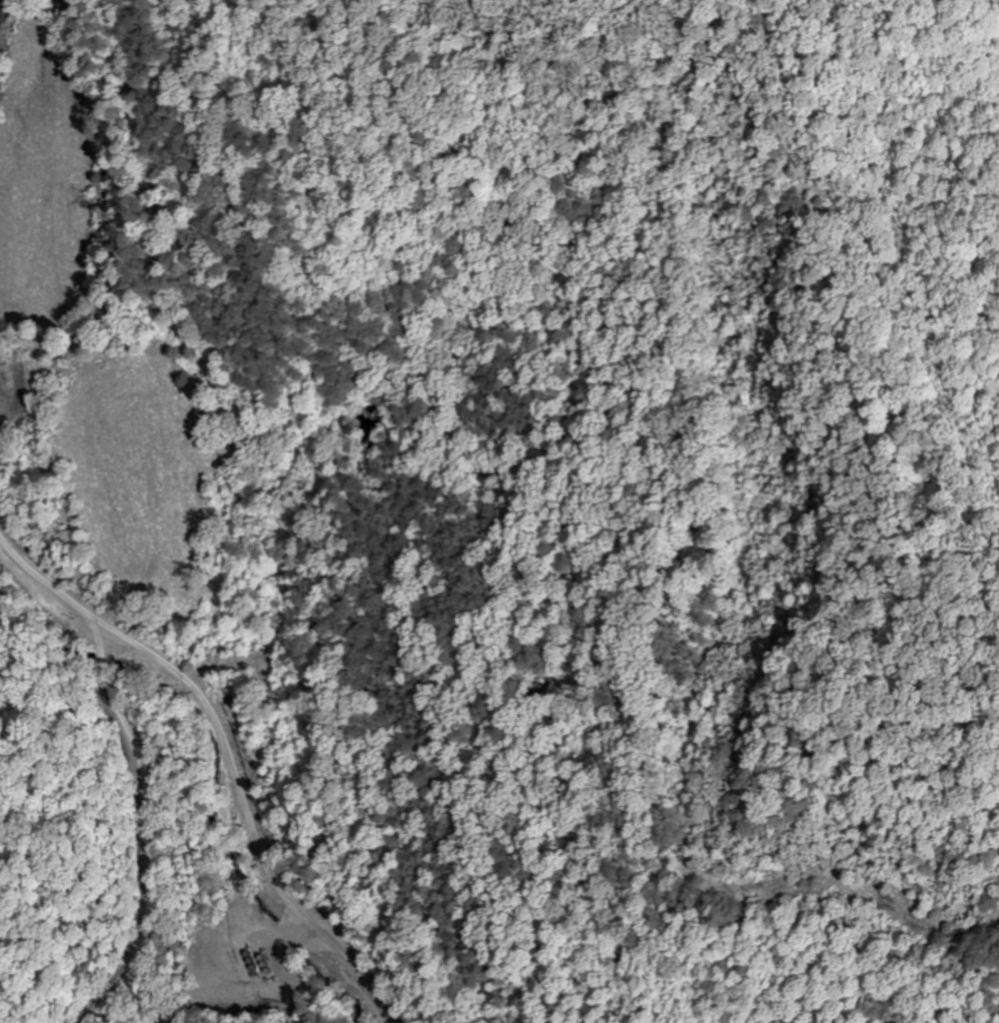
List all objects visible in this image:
road: (227, 748)

